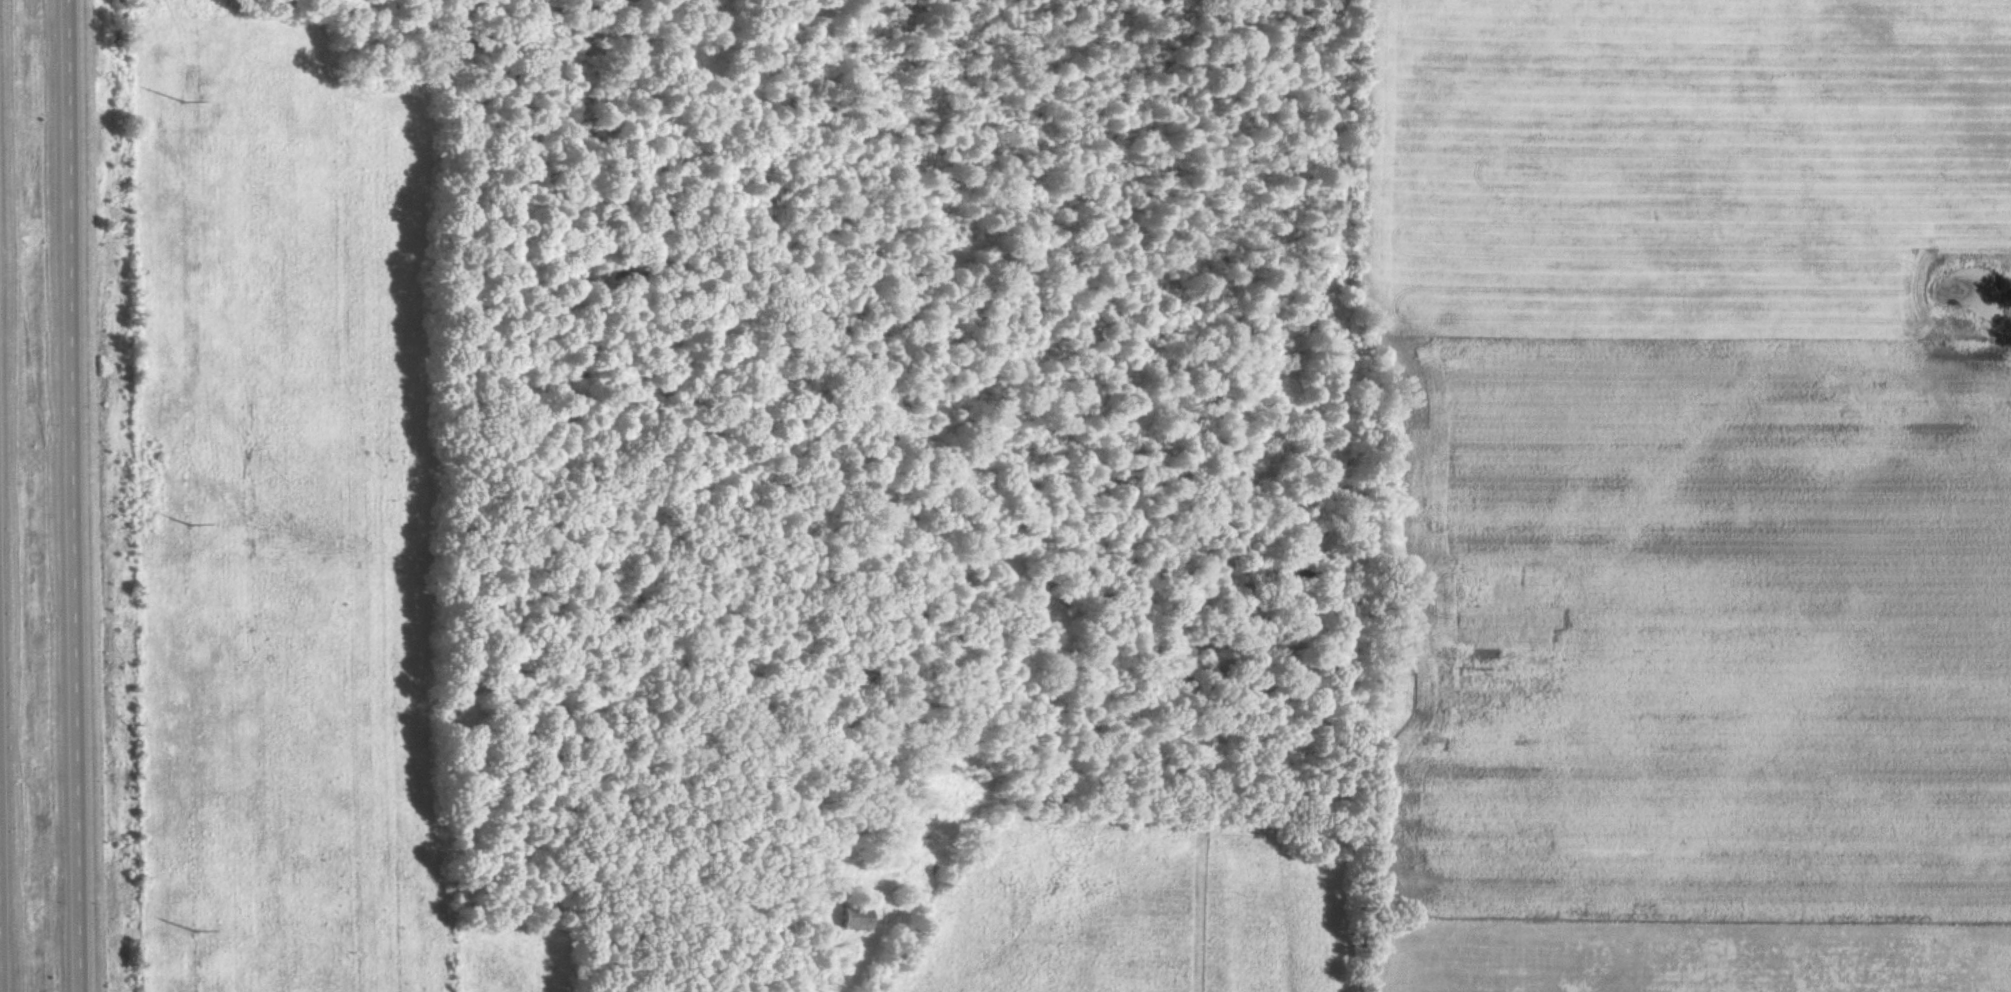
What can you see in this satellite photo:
power tower: (180, 101)
road: (71, 496)
power tower: (185, 522)
building: (854, 919)
power tower: (192, 928)

